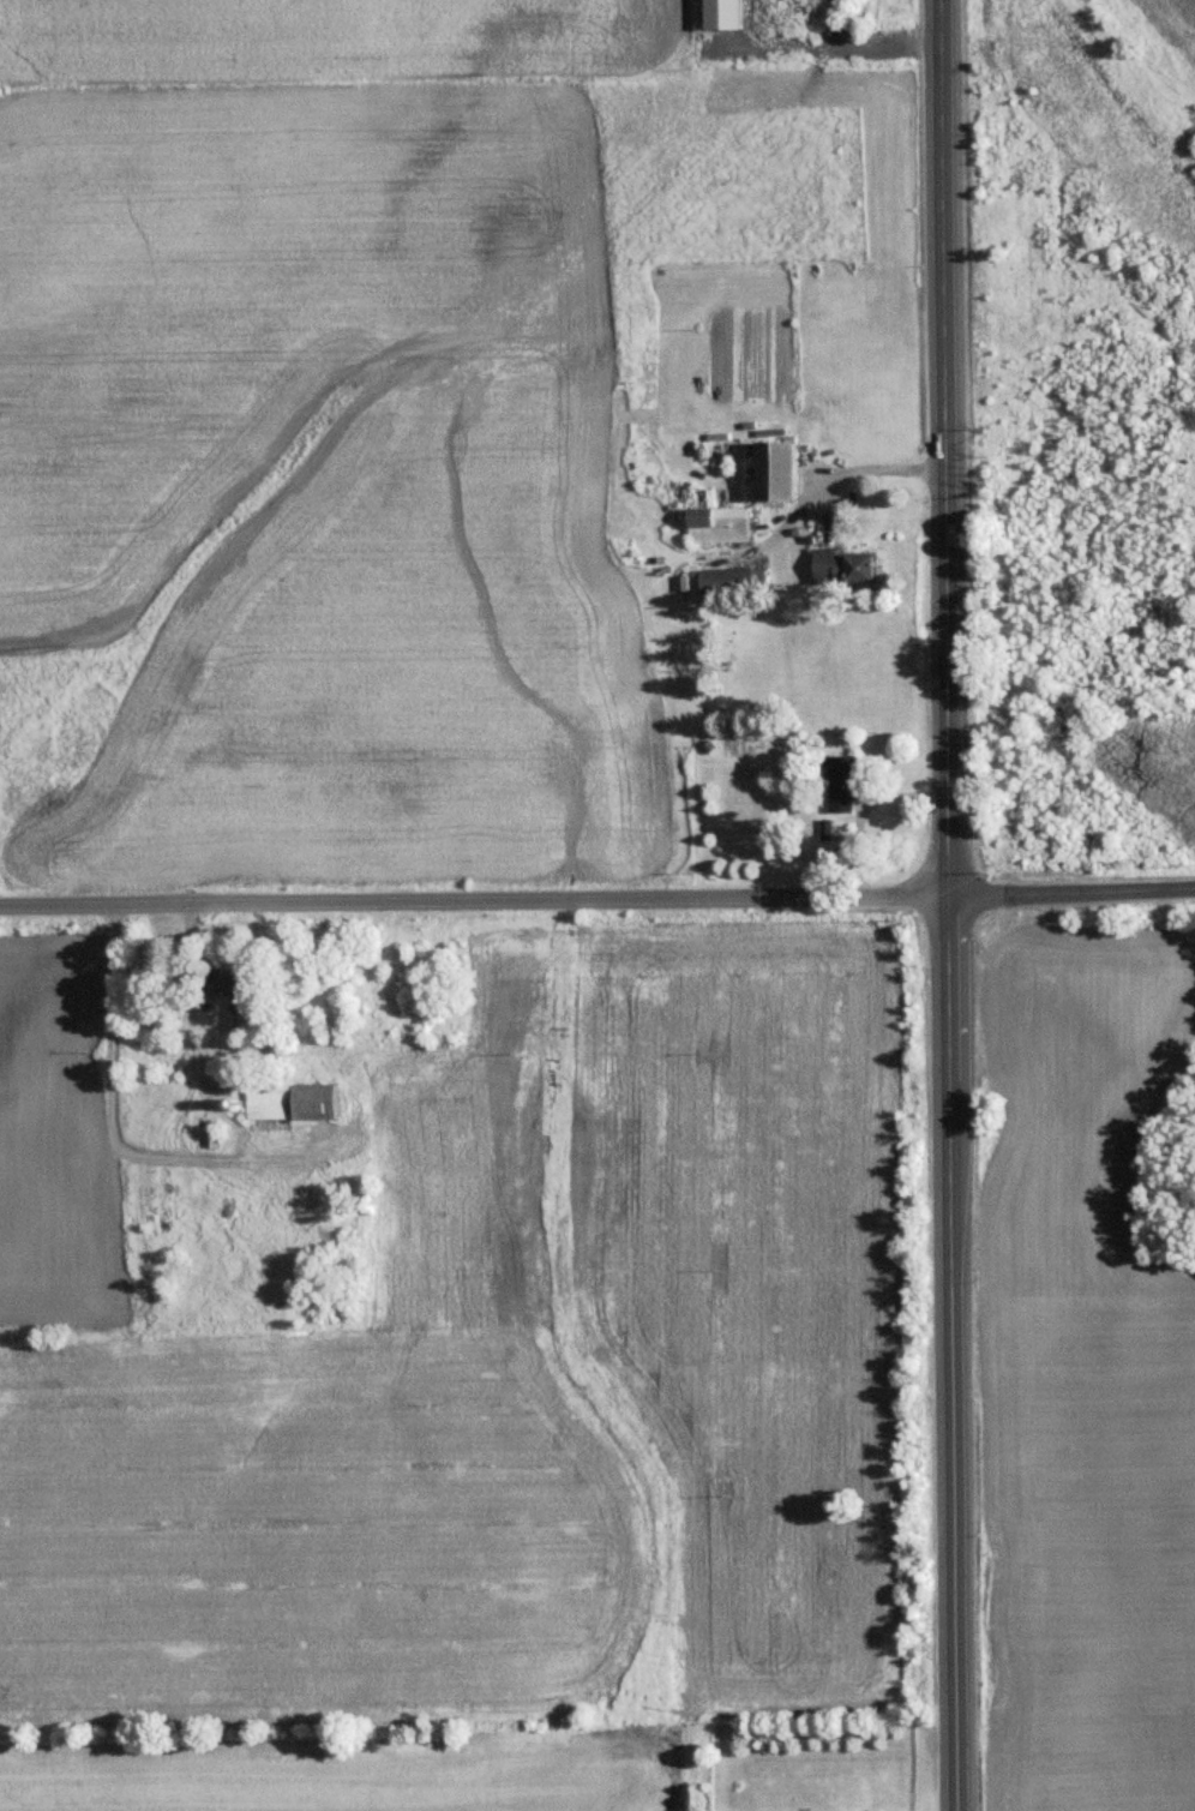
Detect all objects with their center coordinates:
road: (822, 47)
road: (947, 449)
building: (777, 470)
road: (864, 475)
building: (717, 523)
building: (843, 568)
building: (729, 580)
building: (840, 782)
road: (864, 808)
road: (1074, 893)
road: (476, 902)
building: (235, 989)
building: (317, 1098)
building: (269, 1101)
road: (959, 1354)

